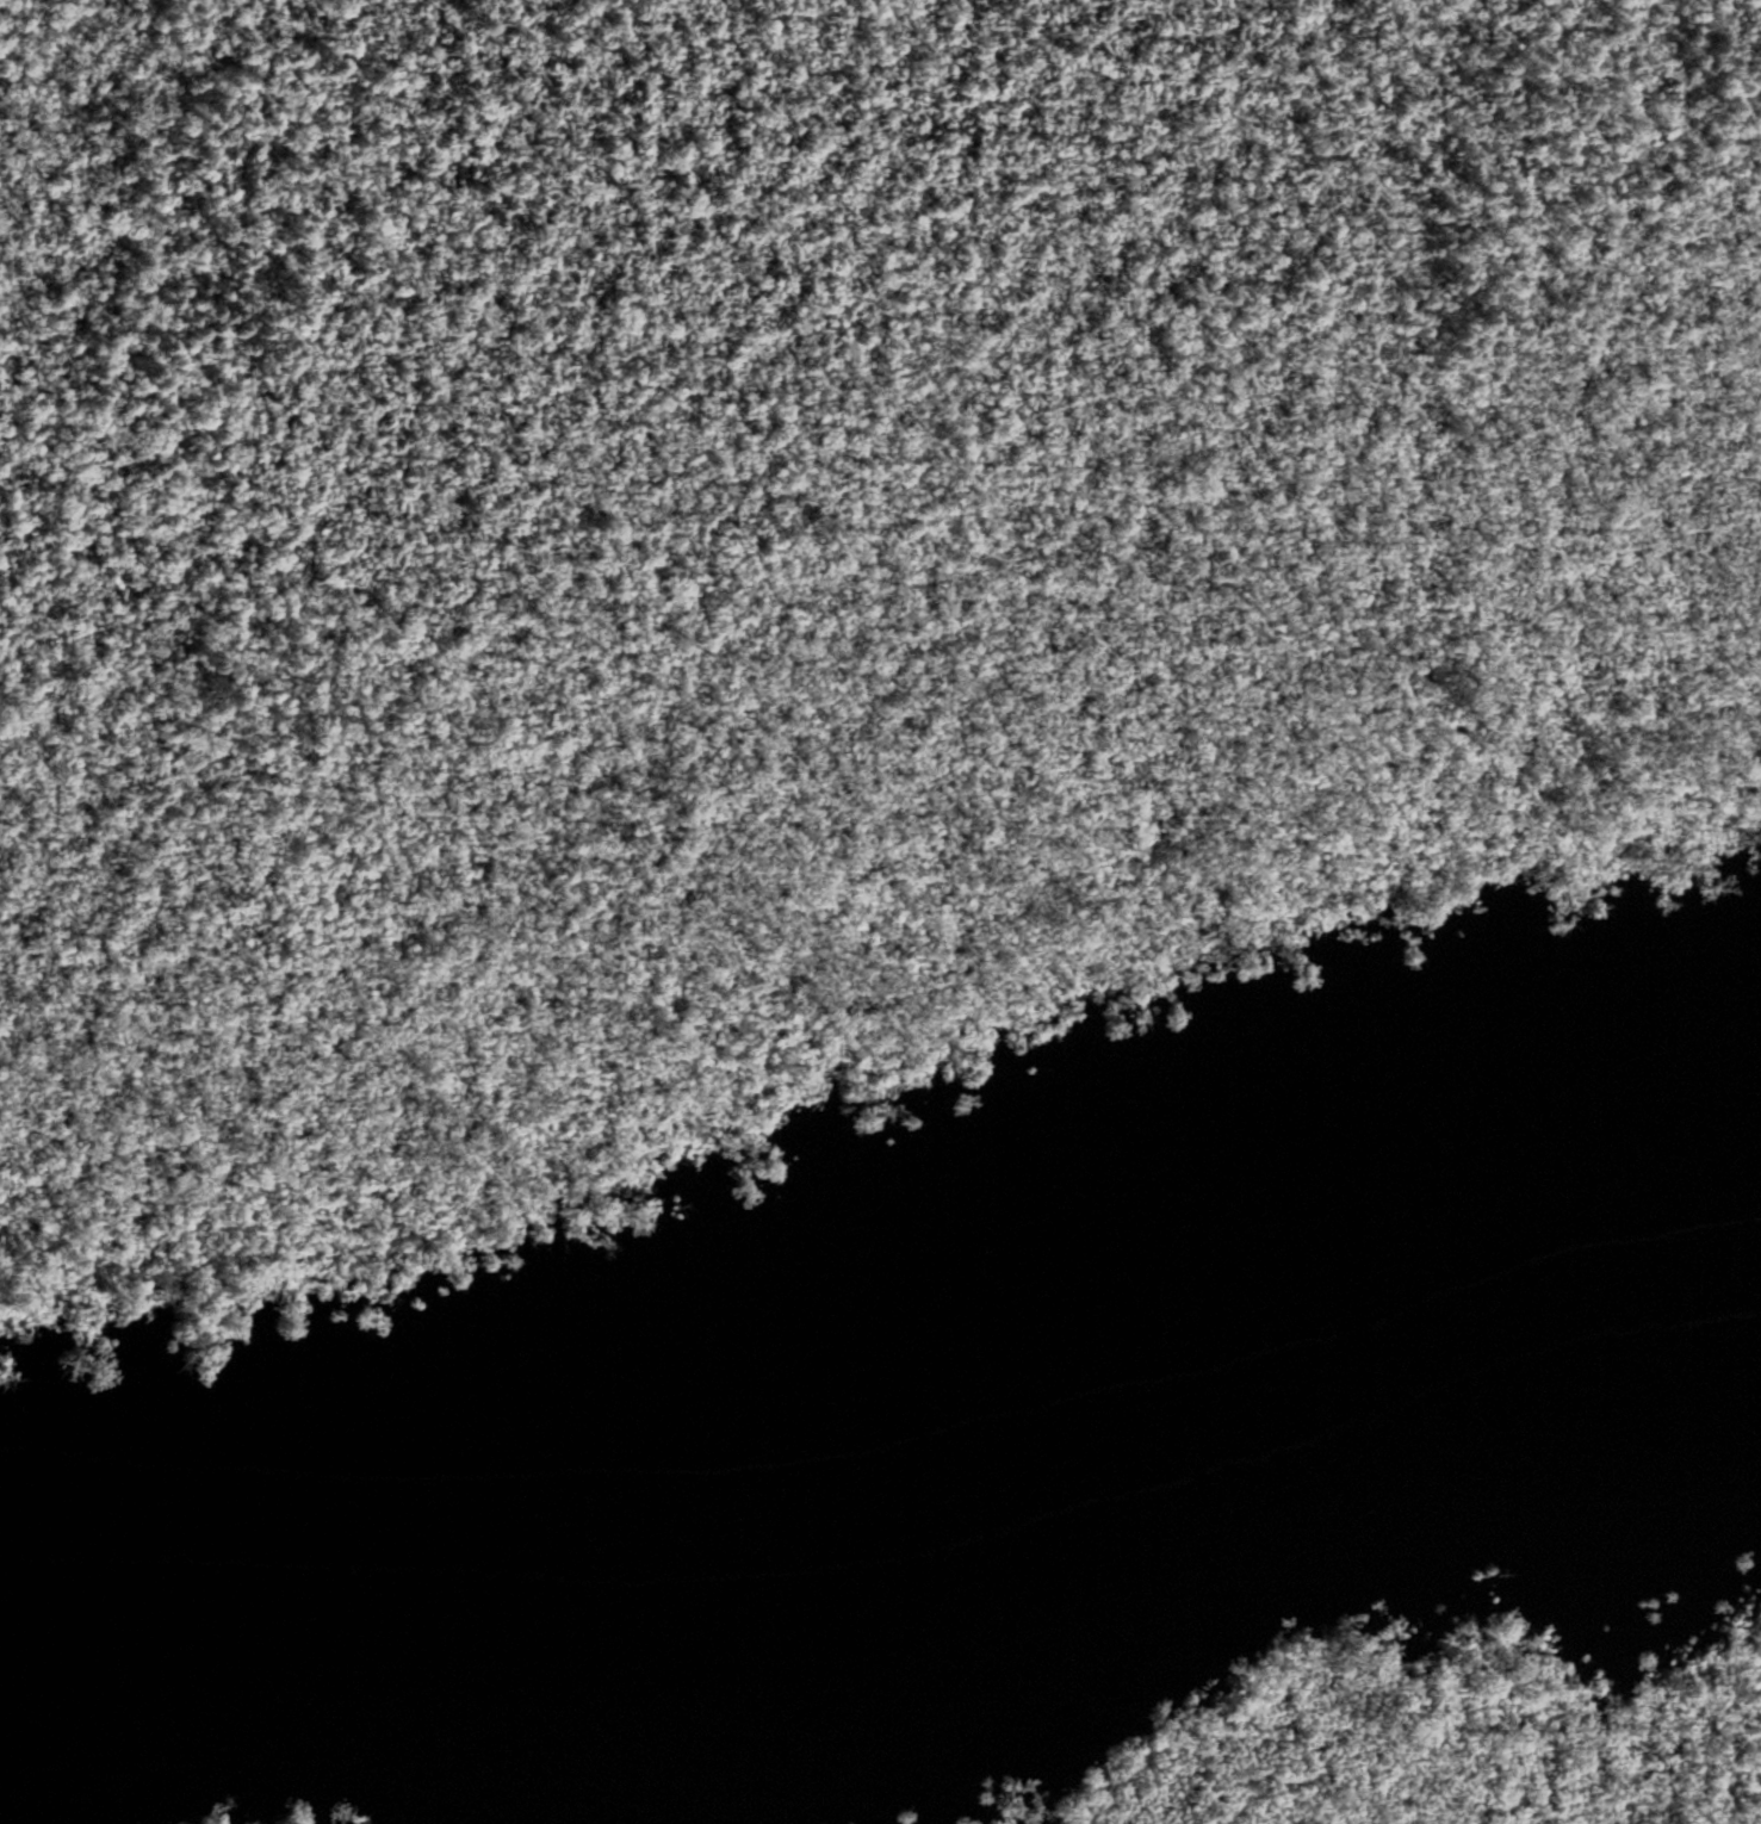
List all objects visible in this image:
river: (878, 1446)

